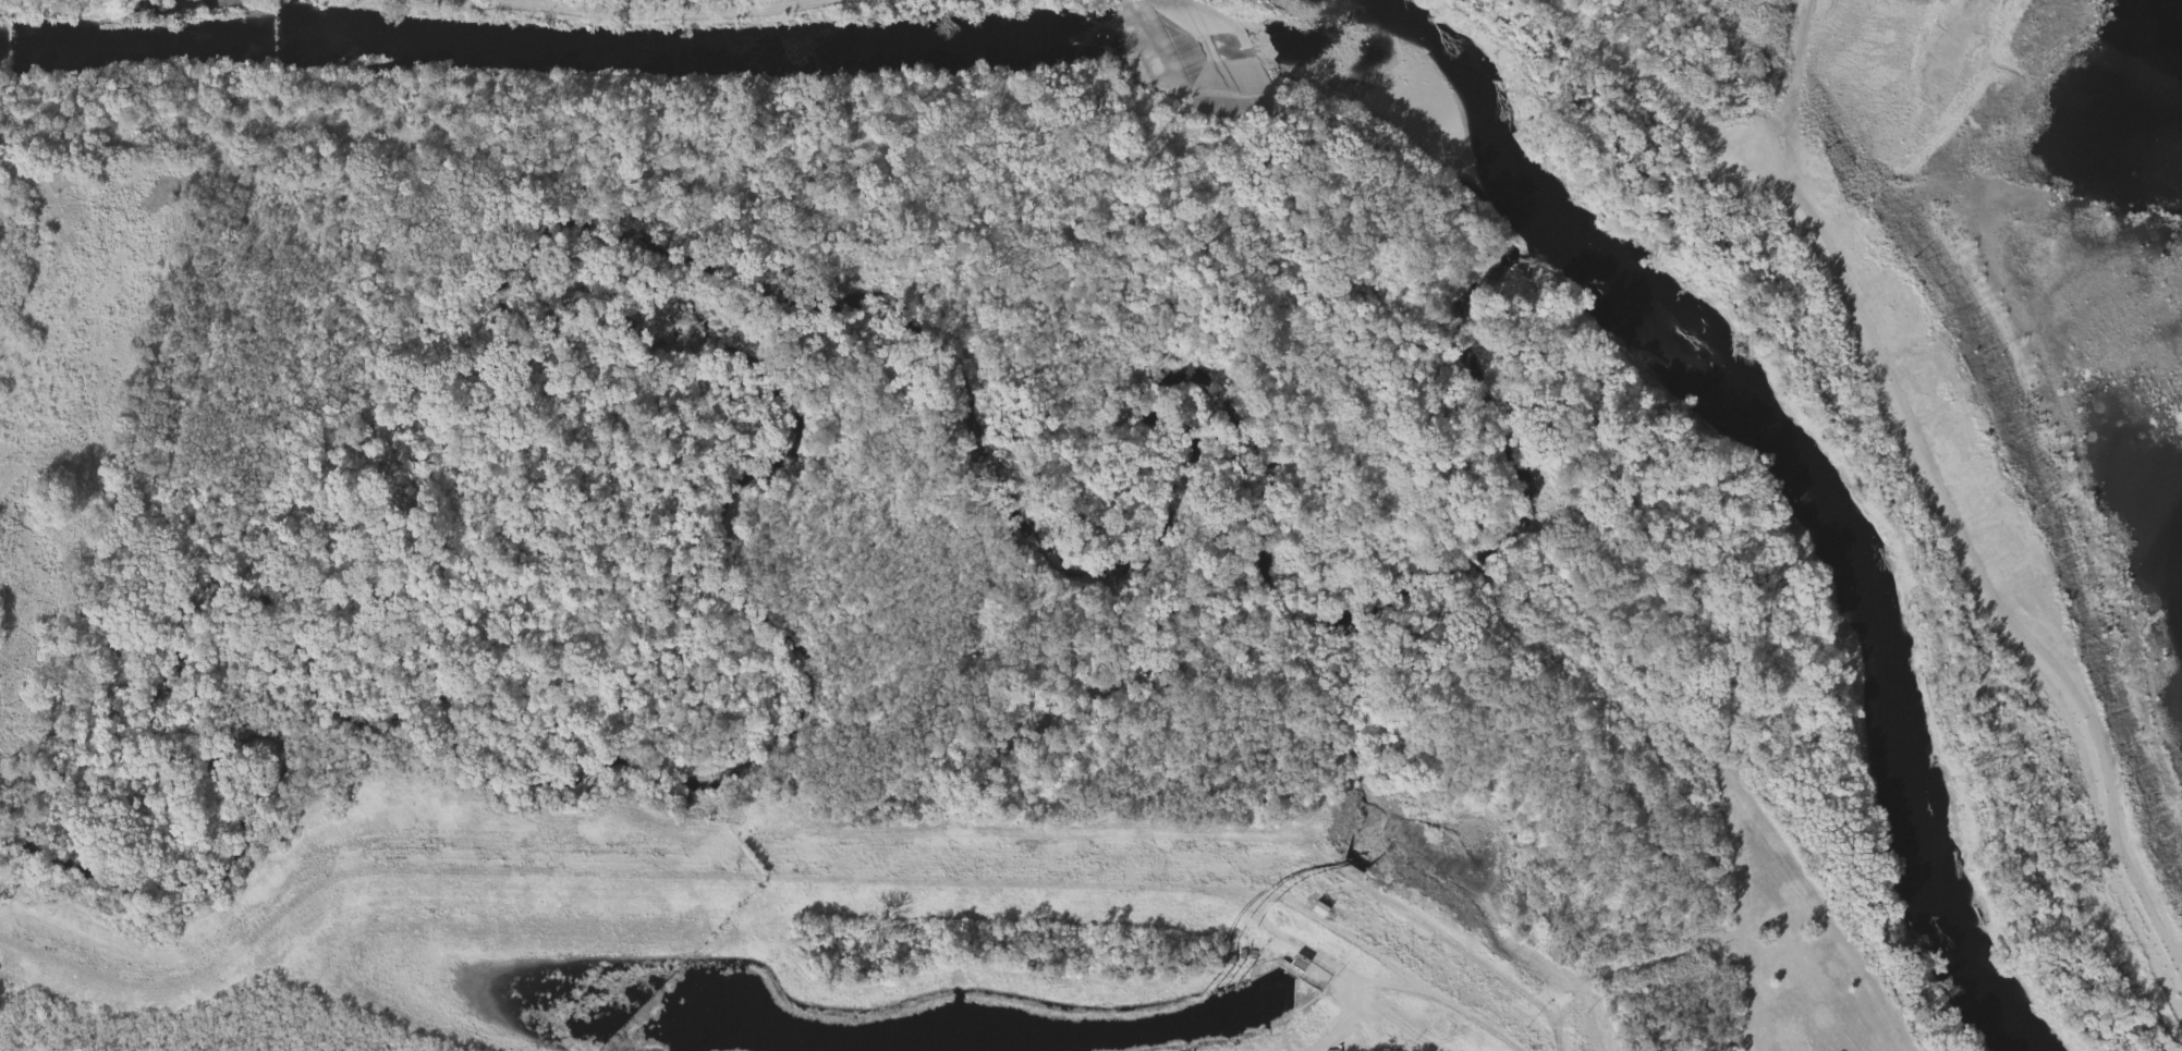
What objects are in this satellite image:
dam: (1196, 51)
river: (1788, 456)
road: (1936, 487)
building: (1319, 911)
building: (1301, 964)
road: (1349, 1024)
road: (1398, 1025)

